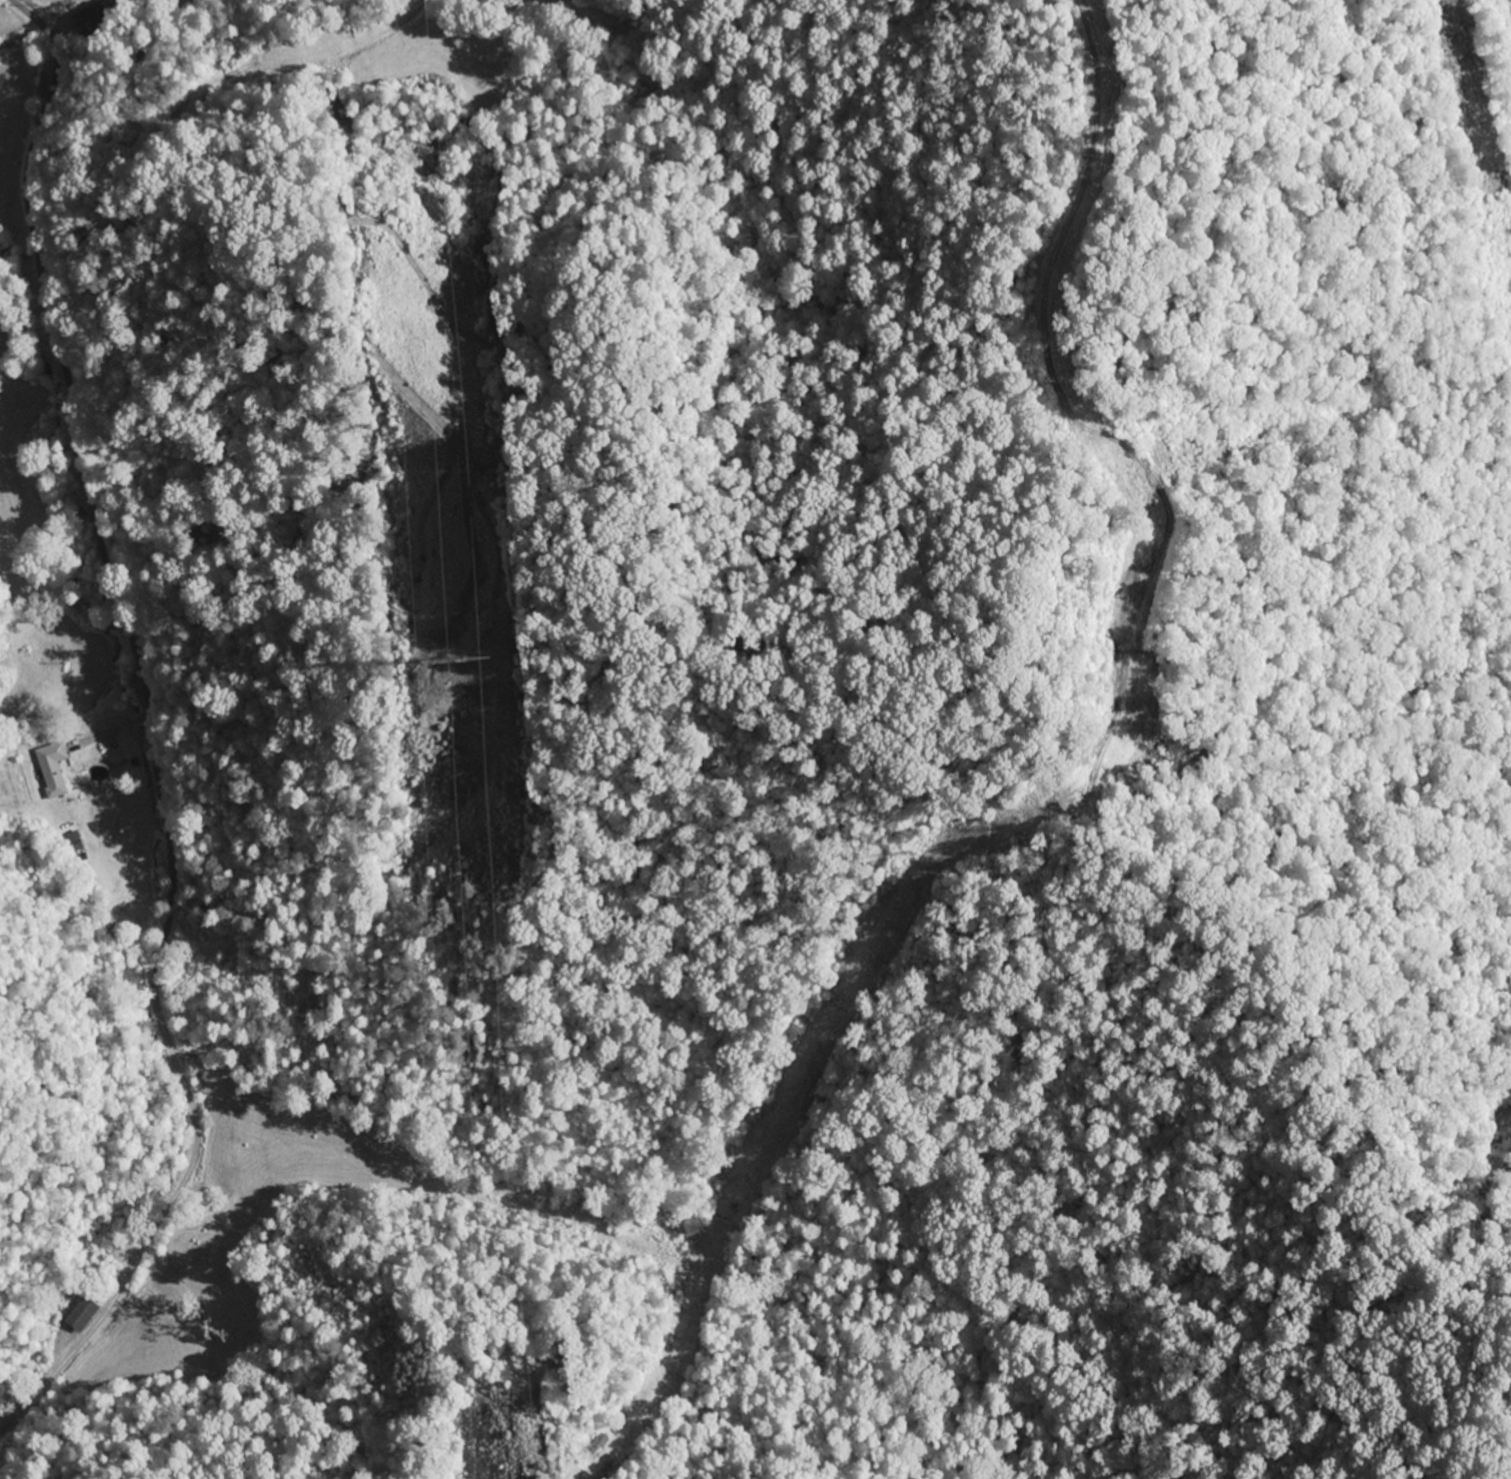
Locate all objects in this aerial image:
power tower: (457, 673)
road: (160, 754)
building: (50, 759)
building: (79, 1315)

